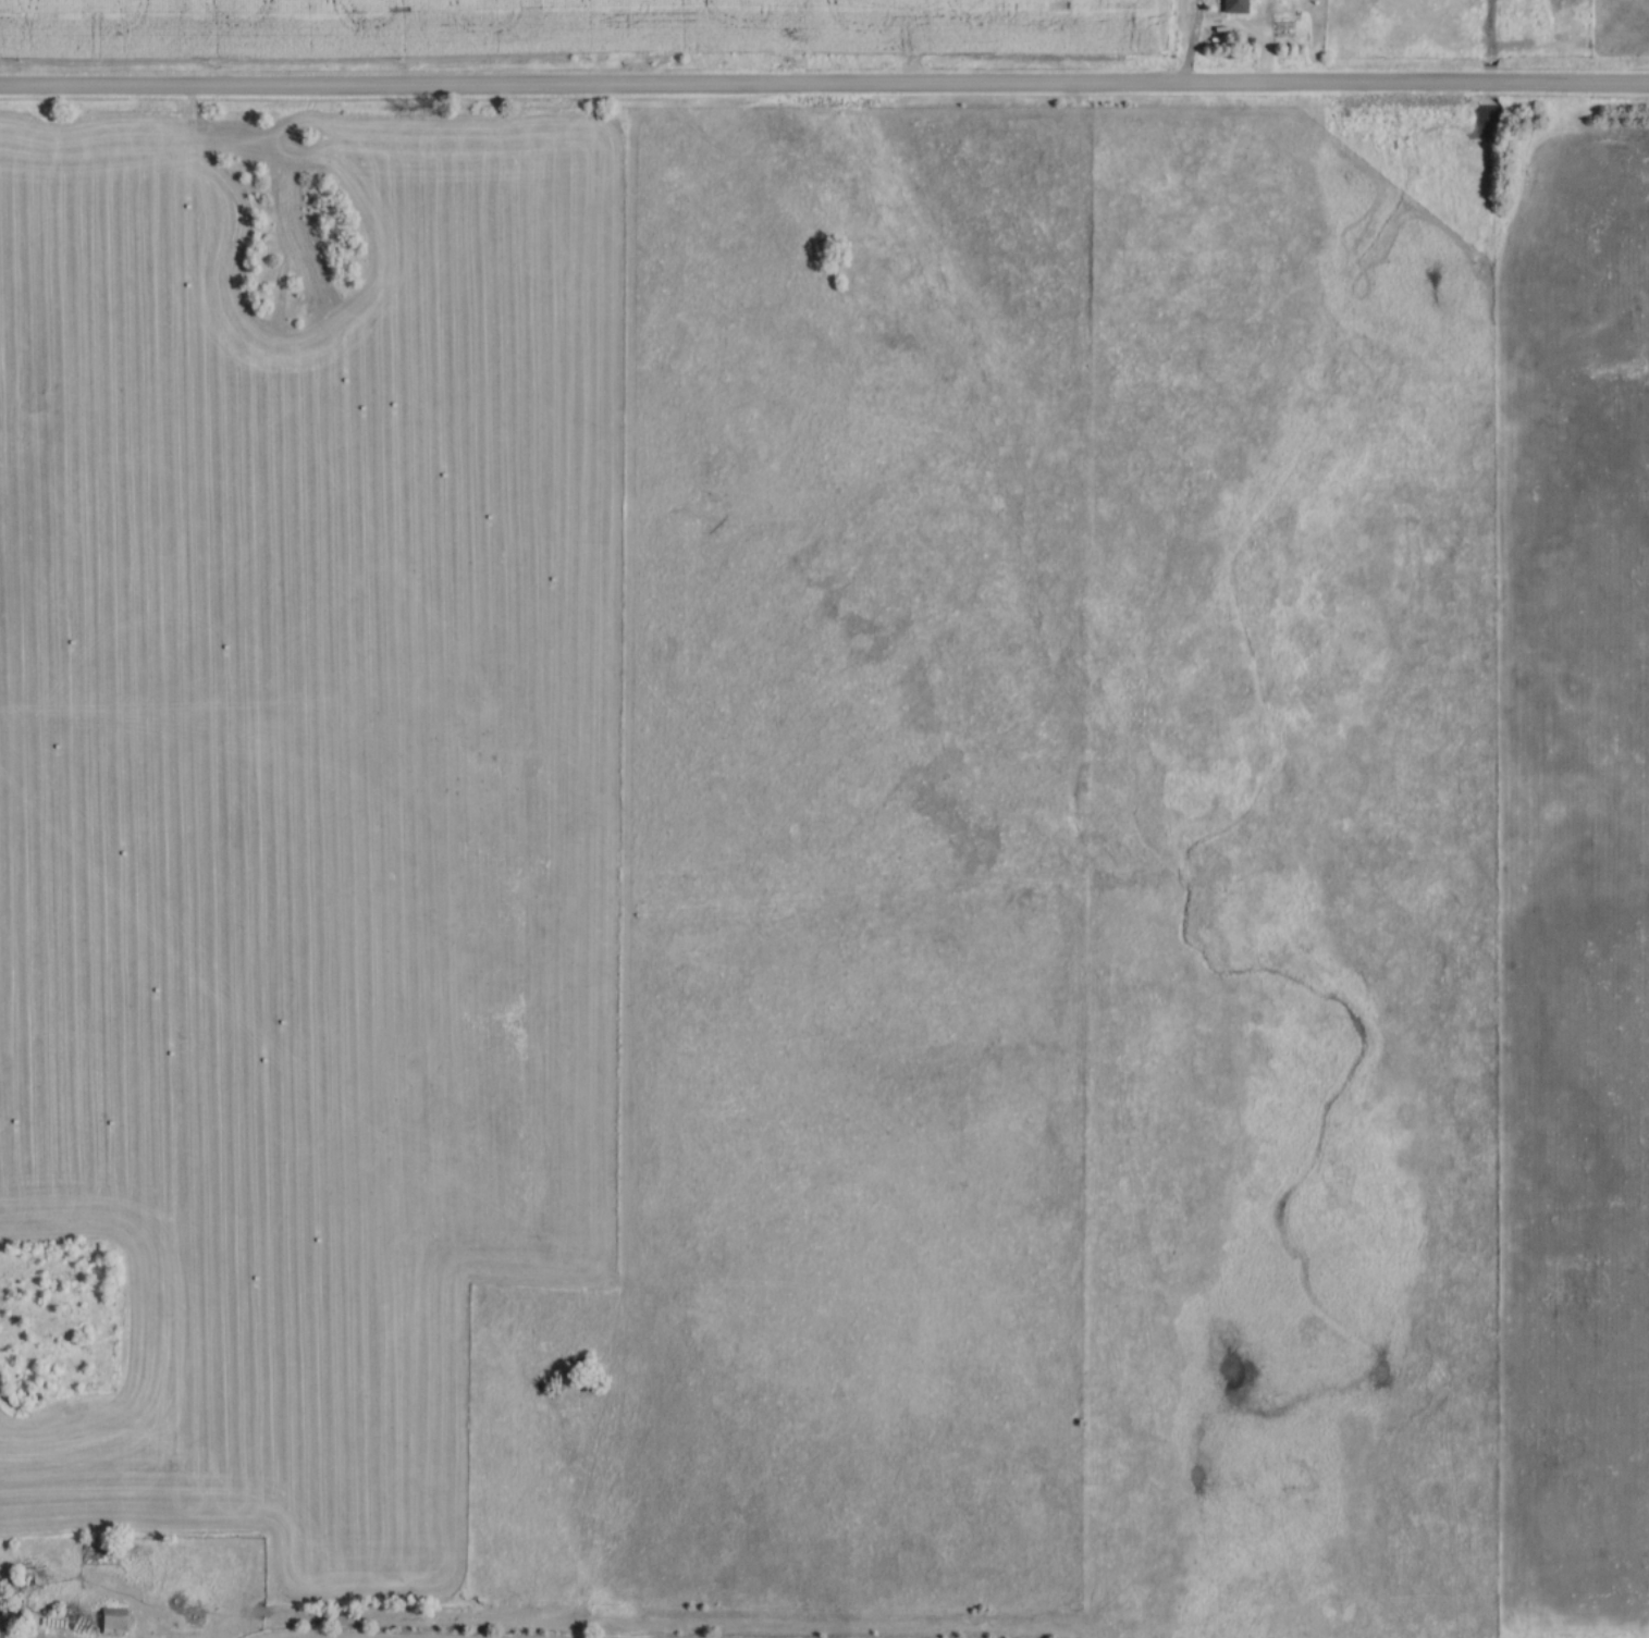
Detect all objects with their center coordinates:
building: (1234, 5)
road: (824, 83)
building: (254, 773)
building: (111, 1621)
road: (24, 1633)

